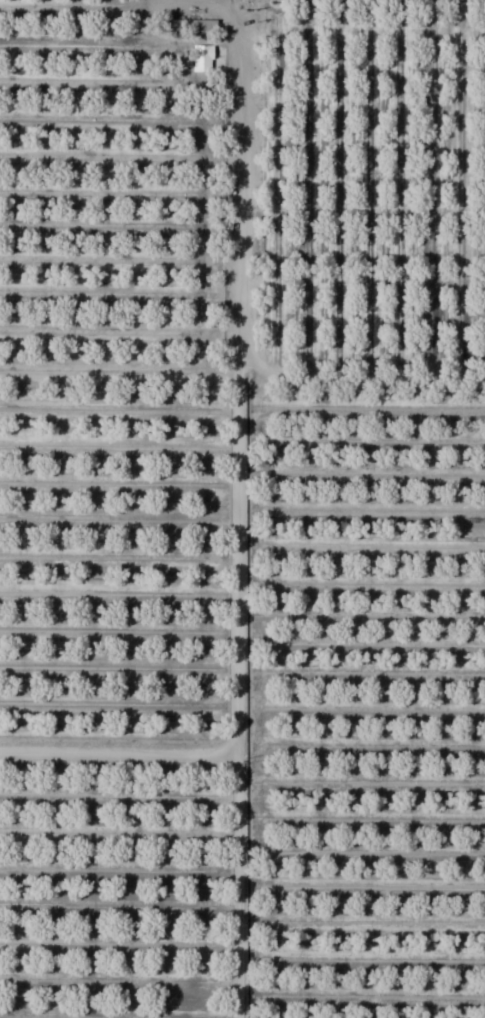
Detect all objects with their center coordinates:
building: (191, 26)
building: (202, 58)
road: (240, 344)
road: (117, 750)

